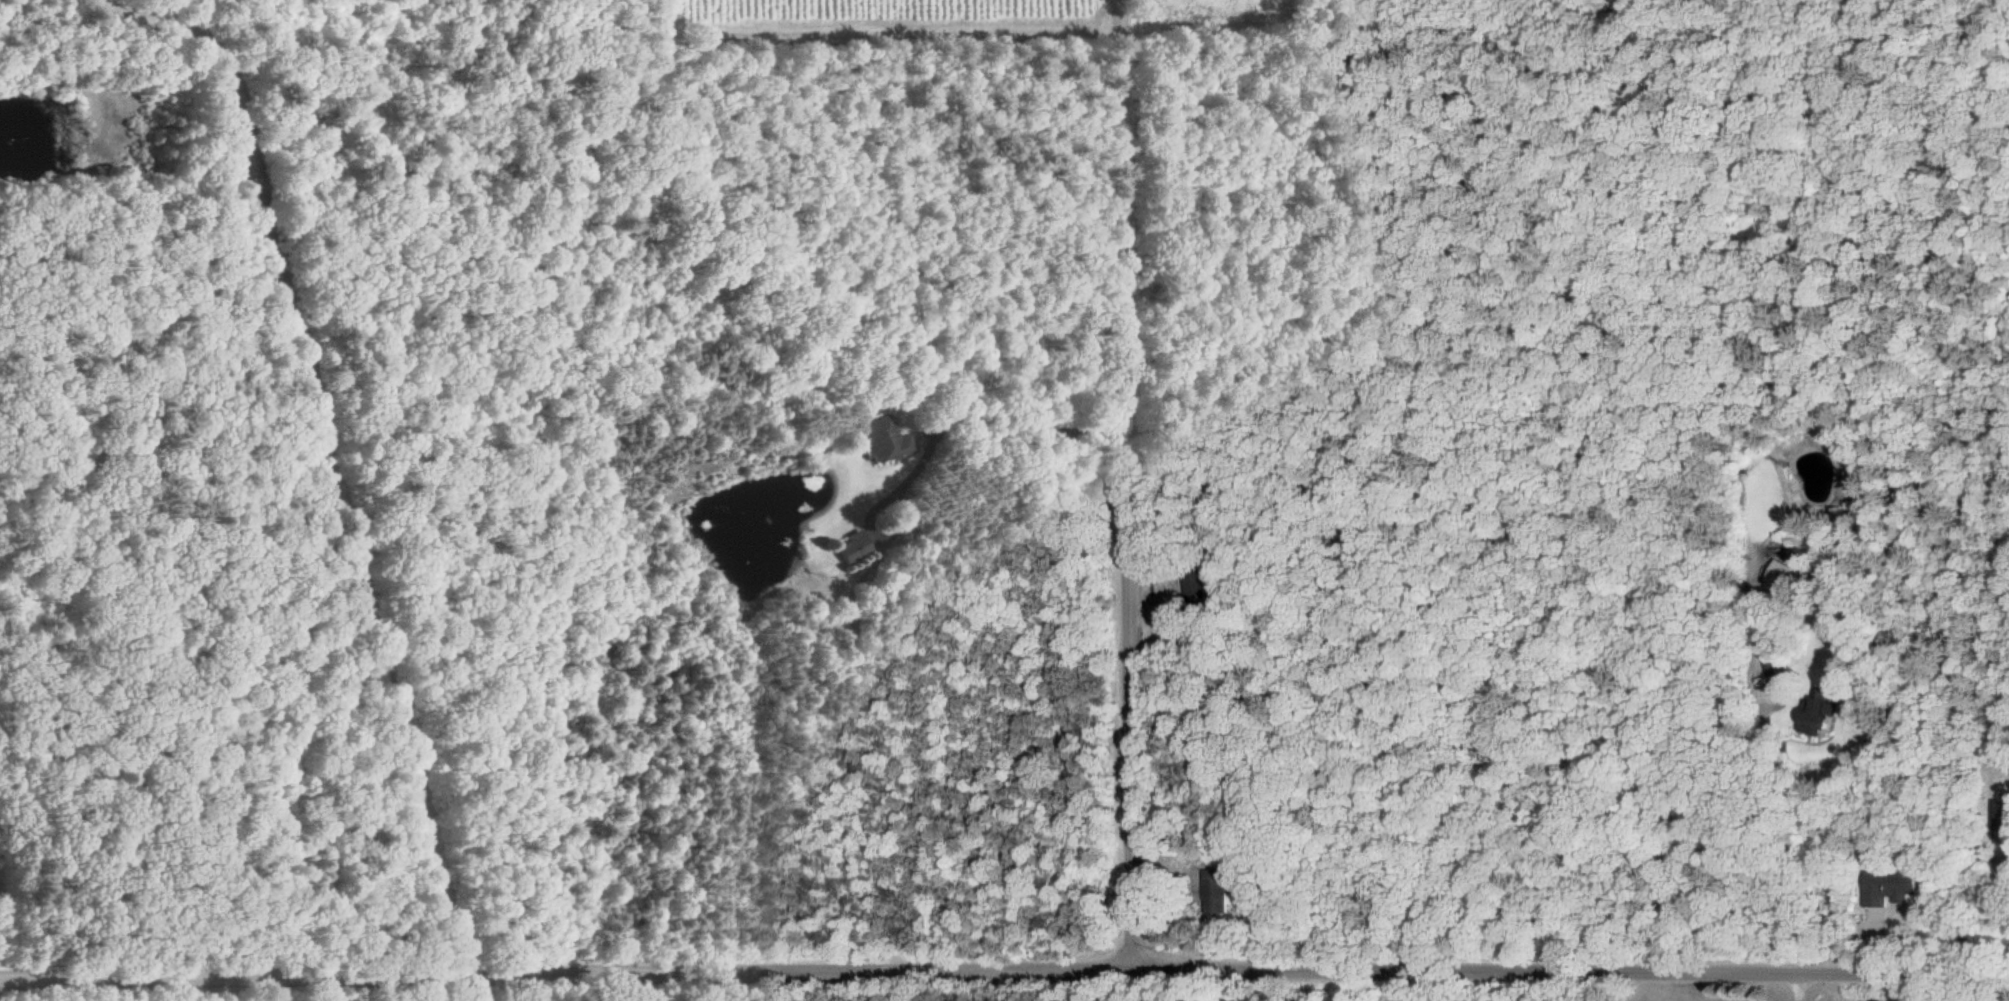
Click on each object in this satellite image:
road: (1021, 421)
building: (885, 441)
road: (1121, 486)
building: (855, 547)
building: (1779, 574)
building: (1815, 711)
road: (850, 782)
building: (2001, 815)
road: (1786, 846)
road: (2003, 885)
building: (1887, 887)
building: (1215, 891)
road: (1004, 973)
road: (1798, 988)

